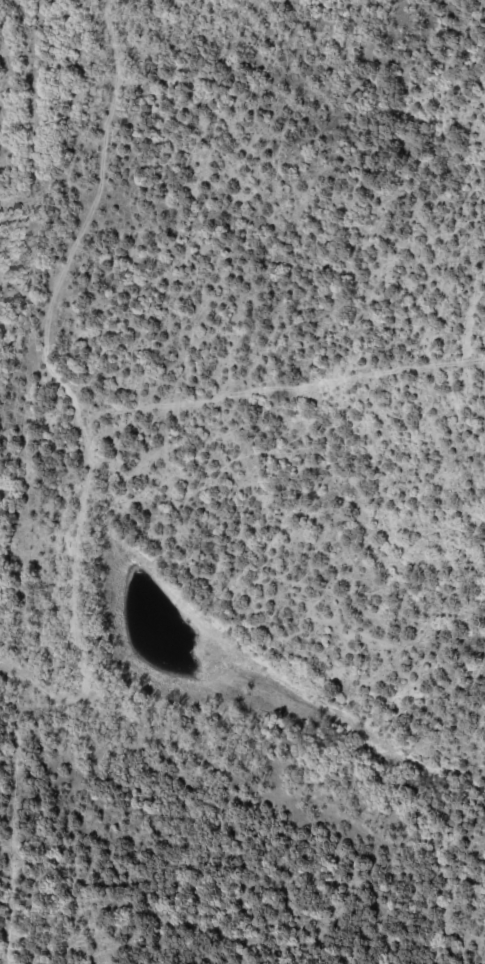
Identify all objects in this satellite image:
road: (92, 362)

